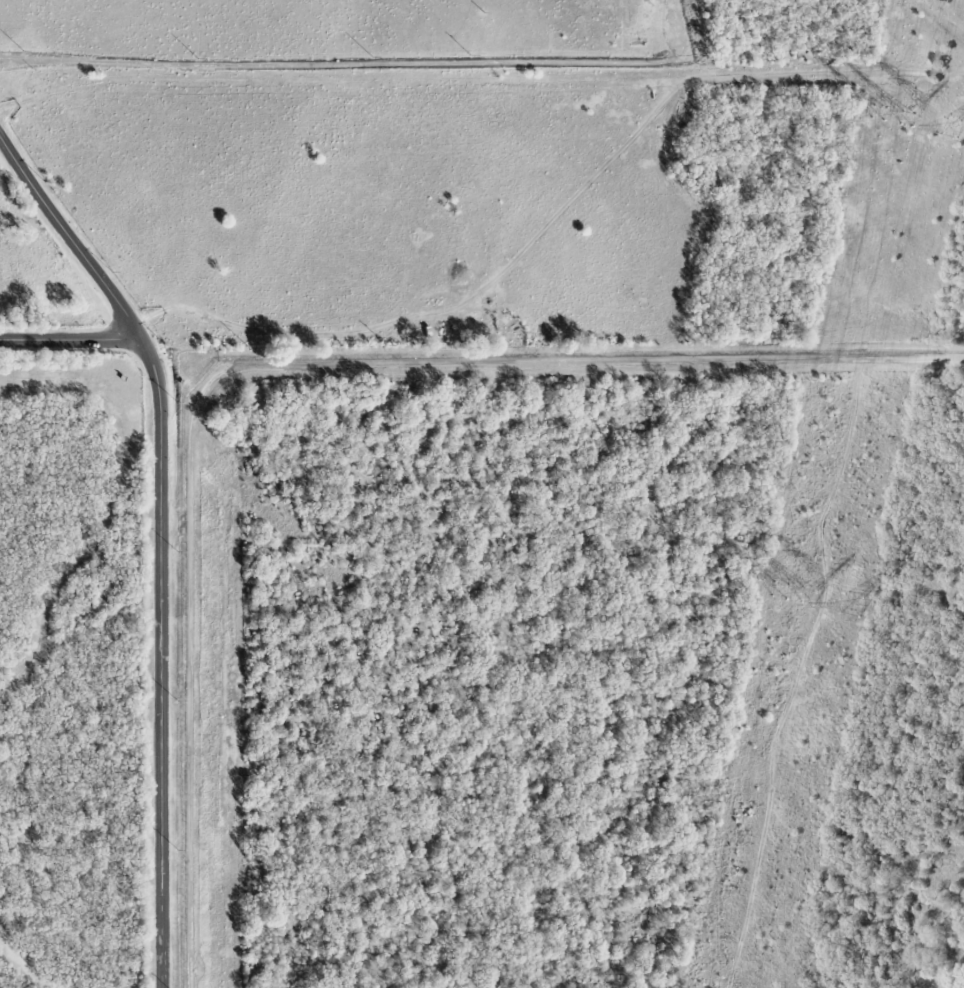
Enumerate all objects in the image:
road: (329, 64)
power tower: (879, 113)
power tower: (908, 120)
power tower: (951, 129)
road: (70, 342)
road: (279, 365)
road: (162, 538)
power tower: (781, 591)
power tower: (810, 597)
power tower: (853, 606)
road: (794, 672)

